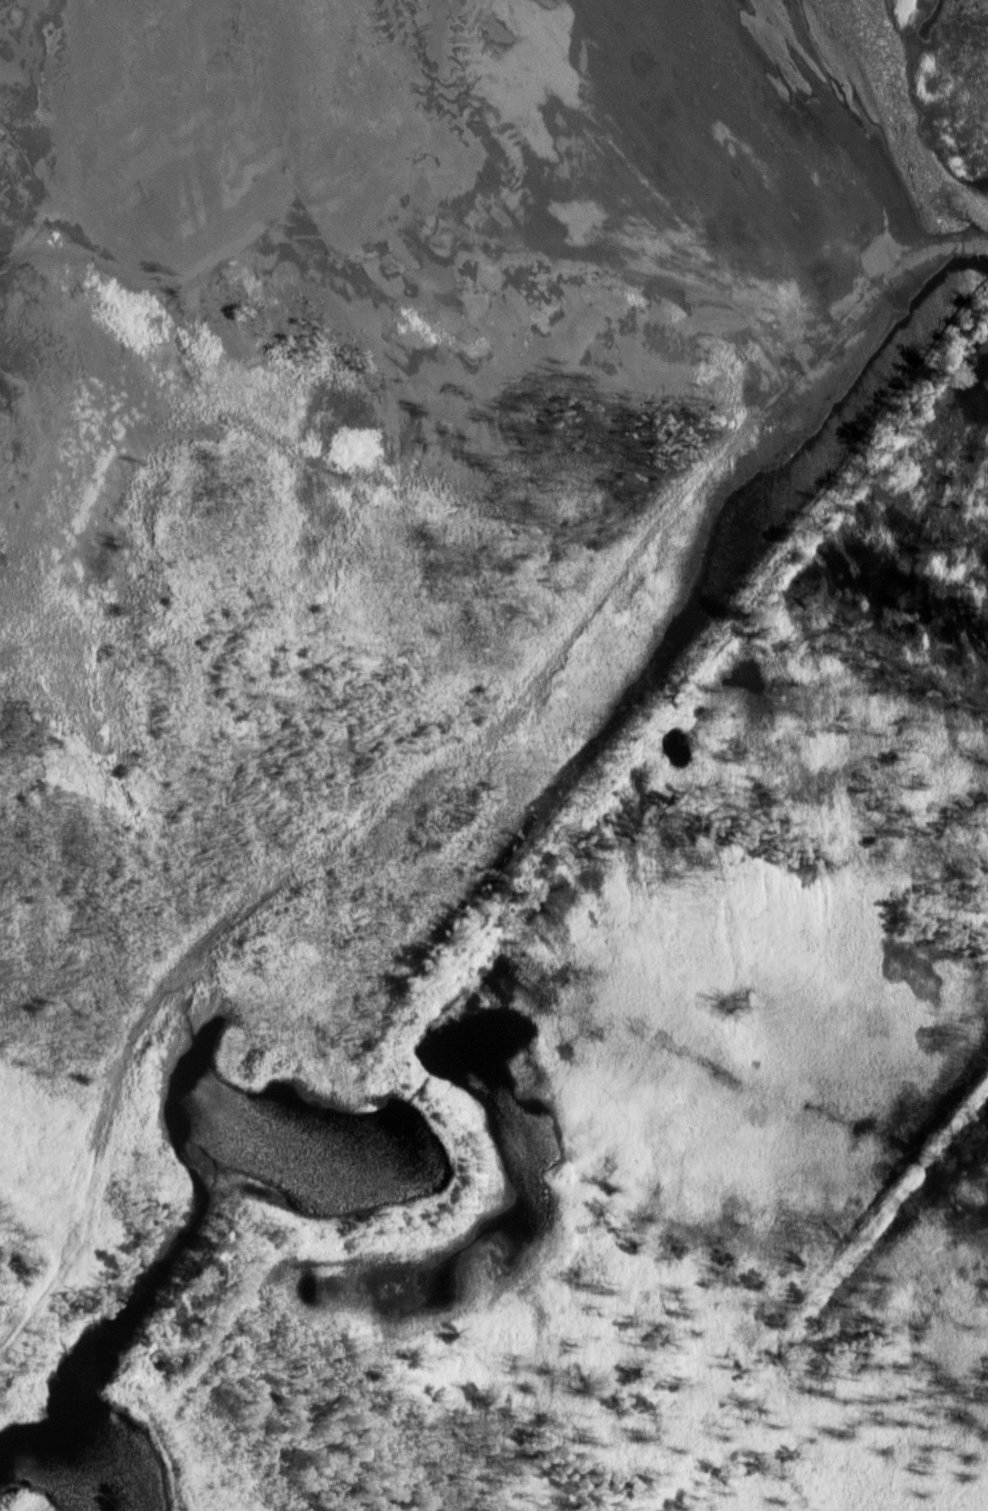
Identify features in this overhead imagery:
road: (473, 1061)
road: (898, 1188)

